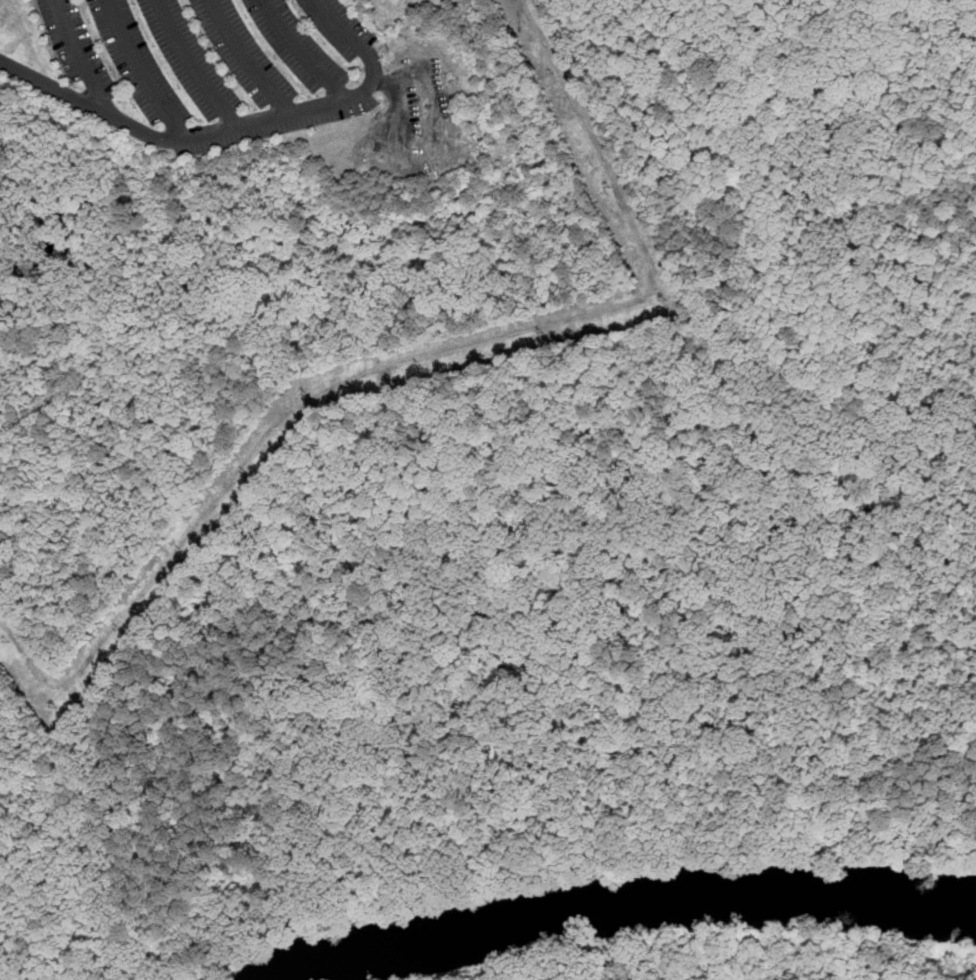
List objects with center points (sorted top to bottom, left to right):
road: (343, 29)
road: (301, 53)
road: (78, 55)
road: (246, 58)
road: (193, 65)
road: (140, 71)
road: (424, 88)
road: (197, 137)
river: (625, 907)

